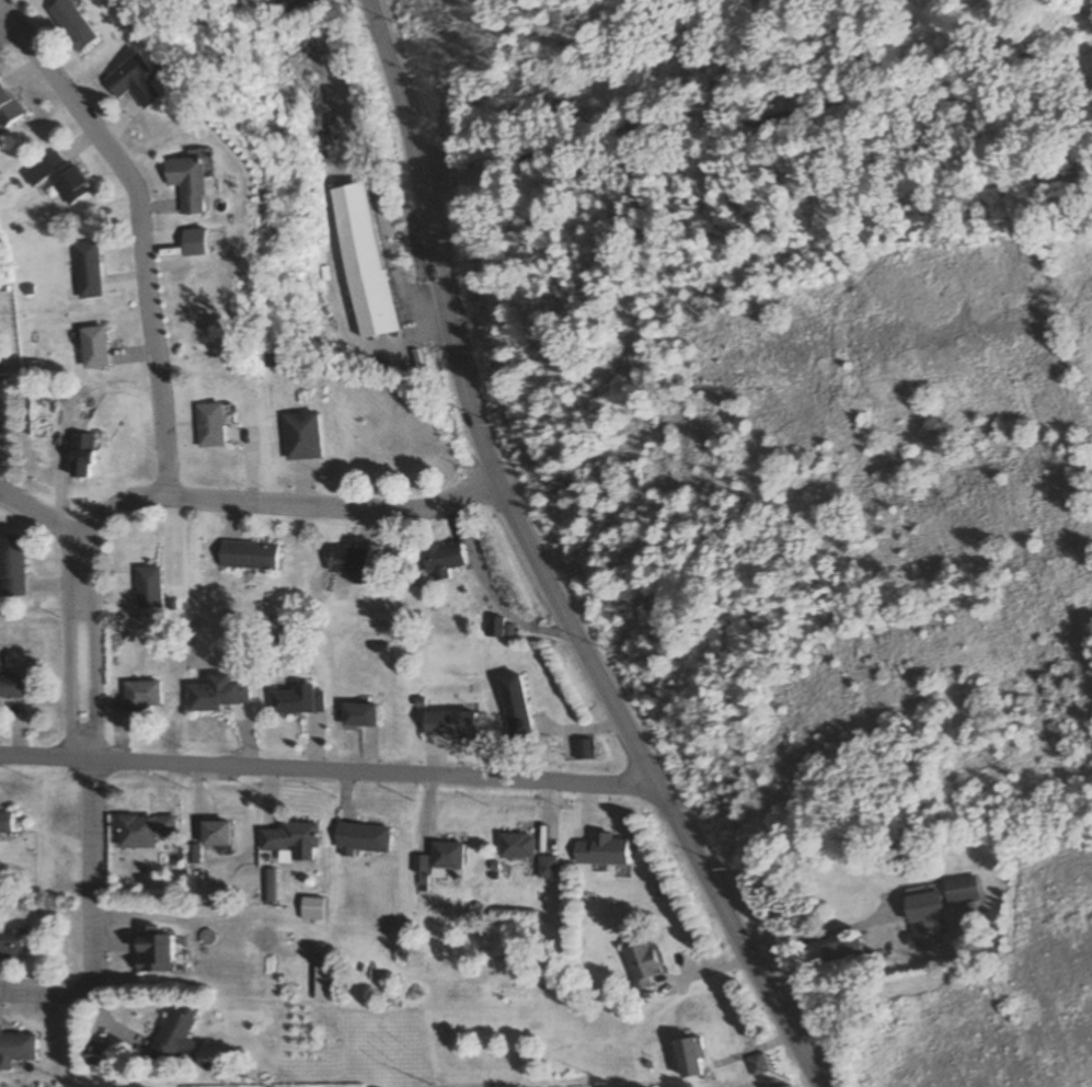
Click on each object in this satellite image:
building: (272, 3)
road: (3, 25)
building: (71, 25)
building: (134, 83)
building: (7, 110)
road: (752, 128)
building: (54, 178)
building: (185, 184)
road: (141, 232)
building: (363, 262)
building: (87, 266)
building: (93, 348)
building: (209, 426)
building: (0, 435)
building: (301, 436)
building: (80, 457)
road: (286, 502)
road: (42, 513)
building: (248, 554)
building: (442, 559)
building: (349, 562)
road: (537, 563)
building: (12, 565)
building: (149, 585)
road: (87, 649)
building: (11, 687)
building: (217, 695)
building: (141, 696)
building: (298, 701)
building: (515, 708)
building: (359, 716)
building: (449, 723)
building: (584, 750)
road: (325, 773)
building: (5, 822)
building: (142, 831)
building: (215, 833)
building: (363, 837)
building: (291, 839)
building: (517, 846)
building: (447, 855)
building: (549, 867)
building: (962, 889)
building: (311, 908)
building: (926, 922)
road: (90, 925)
building: (11, 945)
building: (152, 950)
building: (843, 950)
building: (641, 963)
building: (173, 1038)
building: (15, 1048)
building: (93, 1055)
building: (690, 1057)
building: (756, 1066)

